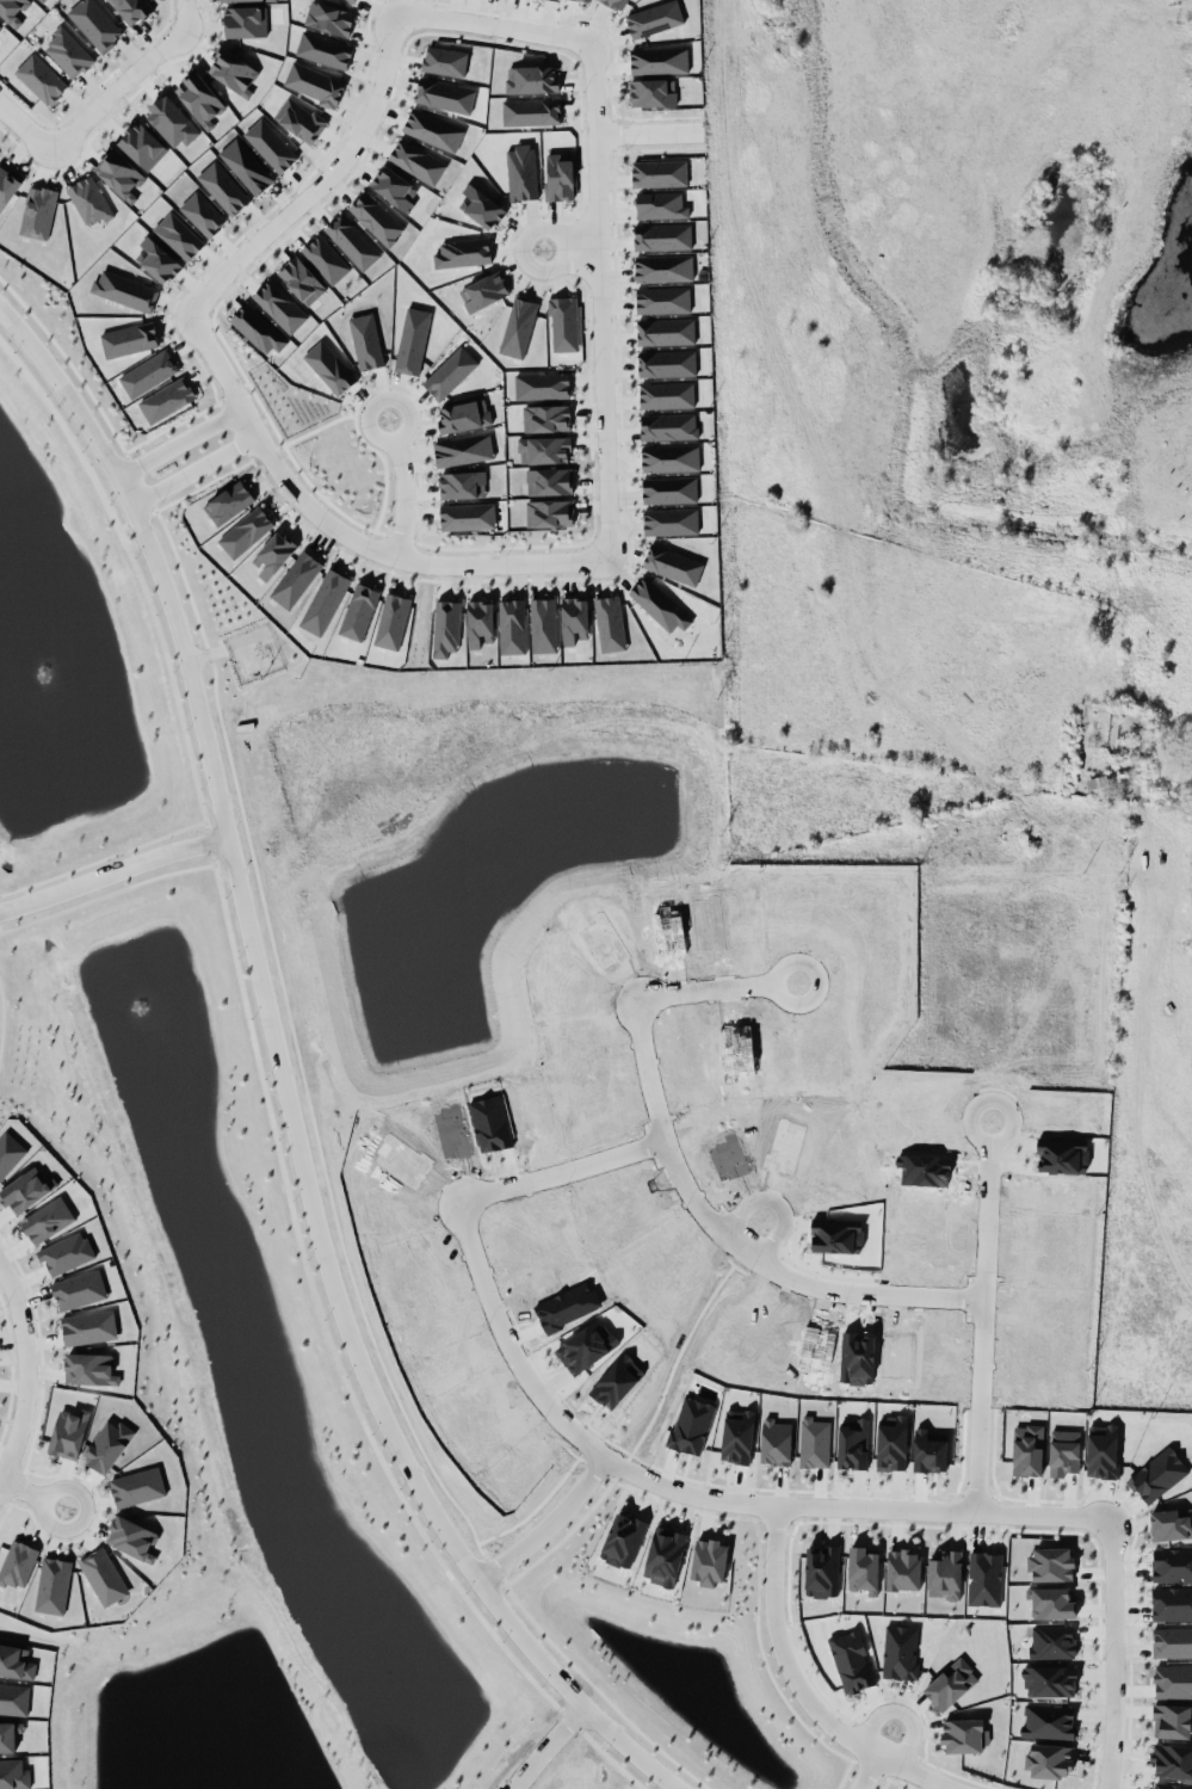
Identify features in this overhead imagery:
building: (227, 0)
building: (351, 0)
building: (587, 0)
building: (616, 2)
road: (1169, 2)
building: (131, 8)
building: (11, 10)
building: (328, 13)
building: (653, 18)
building: (245, 20)
building: (93, 21)
building: (0, 23)
building: (0, 25)
building: (321, 44)
building: (67, 49)
building: (656, 56)
building: (445, 60)
building: (233, 69)
building: (37, 74)
building: (531, 78)
building: (314, 82)
building: (650, 88)
building: (441, 92)
building: (198, 95)
road: (101, 103)
building: (527, 107)
building: (299, 118)
building: (171, 121)
building: (433, 129)
building: (268, 141)
building: (142, 144)
building: (416, 160)
building: (246, 165)
building: (520, 171)
building: (556, 172)
building: (659, 172)
building: (119, 173)
road: (595, 174)
building: (7, 184)
building: (223, 186)
building: (395, 187)
building: (88, 199)
building: (480, 202)
building: (660, 204)
building: (37, 211)
building: (202, 212)
building: (376, 216)
building: (660, 233)
building: (178, 235)
building: (352, 240)
building: (463, 252)
building: (323, 255)
building: (158, 259)
building: (663, 266)
building: (301, 279)
building: (481, 285)
building: (662, 298)
building: (279, 304)
building: (563, 322)
building: (518, 327)
building: (258, 328)
building: (665, 331)
building: (129, 338)
building: (412, 339)
building: (365, 340)
building: (666, 362)
building: (329, 366)
building: (450, 371)
building: (148, 372)
building: (542, 384)
building: (666, 393)
building: (166, 399)
building: (462, 412)
building: (544, 414)
building: (668, 425)
road: (180, 440)
road: (104, 449)
building: (463, 449)
building: (544, 449)
building: (669, 457)
road: (193, 468)
building: (545, 475)
building: (462, 483)
road: (399, 485)
building: (669, 488)
building: (549, 512)
building: (467, 514)
building: (671, 520)
building: (245, 531)
building: (673, 563)
building: (296, 578)
building: (323, 600)
building: (359, 610)
building: (391, 619)
building: (574, 619)
building: (606, 619)
building: (478, 622)
building: (509, 622)
building: (543, 624)
building: (446, 627)
building: (1098, 785)
road: (113, 875)
road: (704, 992)
road: (1009, 1133)
building: (10, 1152)
building: (24, 1189)
road: (776, 1203)
road: (699, 1209)
road: (986, 1223)
road: (323, 1250)
building: (66, 1252)
building: (79, 1289)
building: (88, 1326)
road: (24, 1368)
building: (89, 1368)
building: (776, 1441)
building: (814, 1441)
building: (891, 1442)
building: (853, 1443)
building: (929, 1449)
building: (1101, 1449)
building: (1063, 1451)
building: (1157, 1474)
road: (33, 1491)
road: (820, 1506)
road: (546, 1523)
building: (132, 1537)
building: (622, 1538)
building: (663, 1554)
building: (709, 1560)
building: (1051, 1562)
building: (1172, 1563)
building: (902, 1568)
building: (944, 1573)
building: (103, 1575)
building: (984, 1577)
building: (53, 1584)
building: (1051, 1602)
building: (1172, 1602)
building: (900, 1651)
road: (1113, 1657)
building: (851, 1660)
building: (16, 1661)
building: (1049, 1679)
building: (950, 1683)
road: (801, 1688)
building: (13, 1697)
road: (901, 1711)
building: (1048, 1720)
building: (963, 1734)
road: (554, 1746)
building: (1172, 1759)
road: (869, 1772)
building: (1171, 1785)

